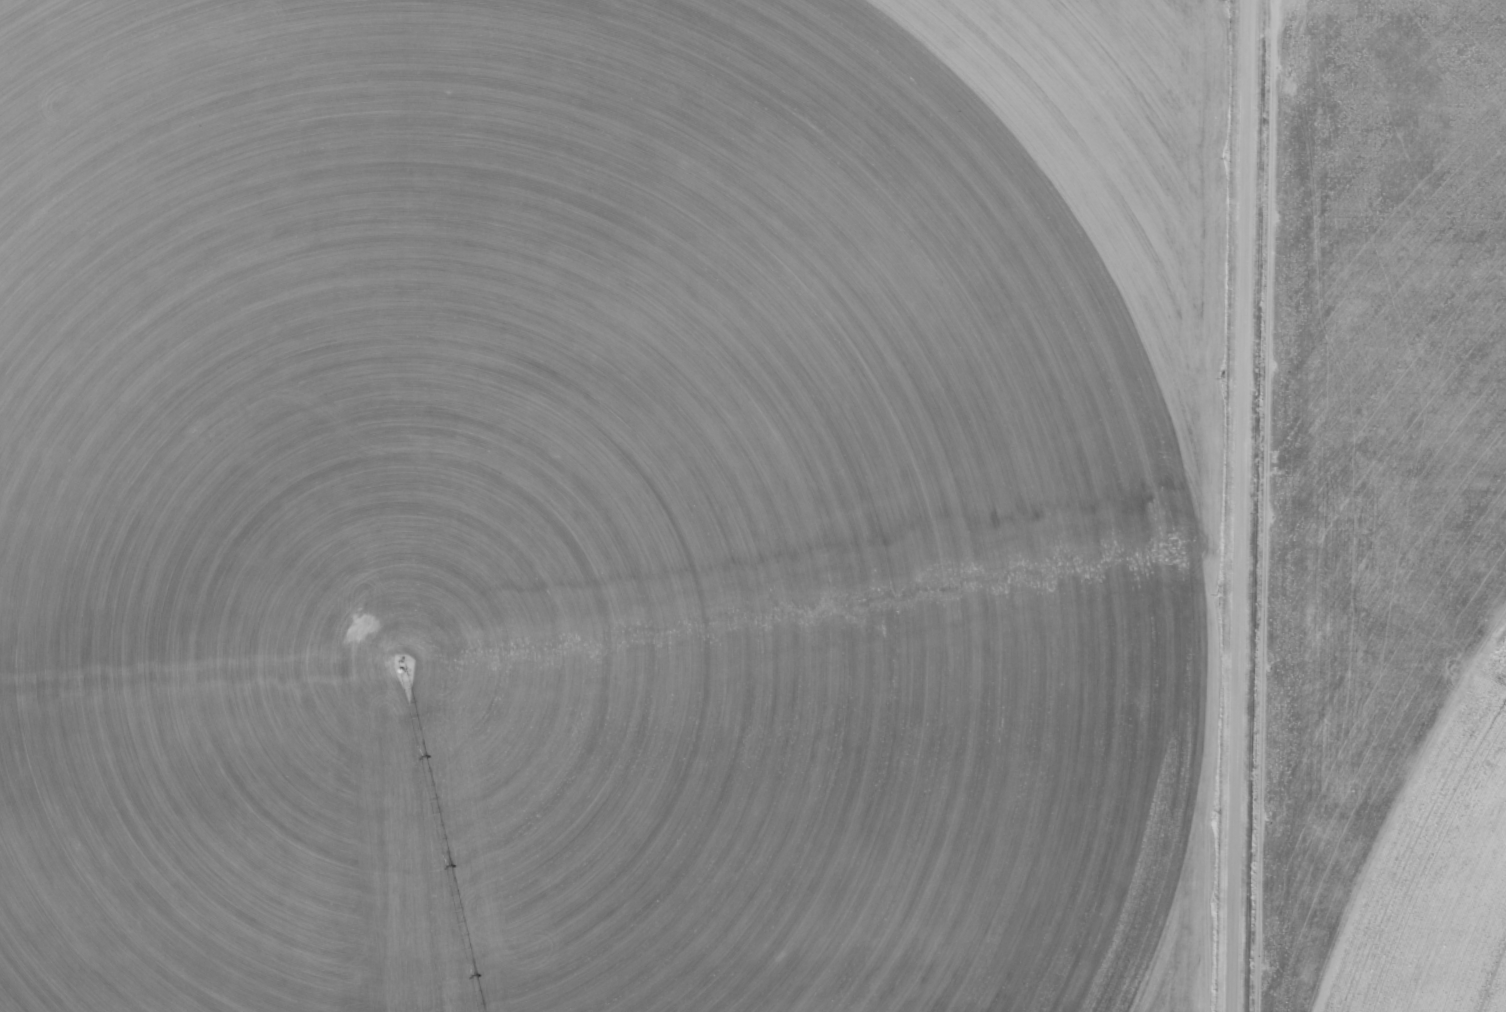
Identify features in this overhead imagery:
road: (1237, 506)
crop: (1394, 515)

